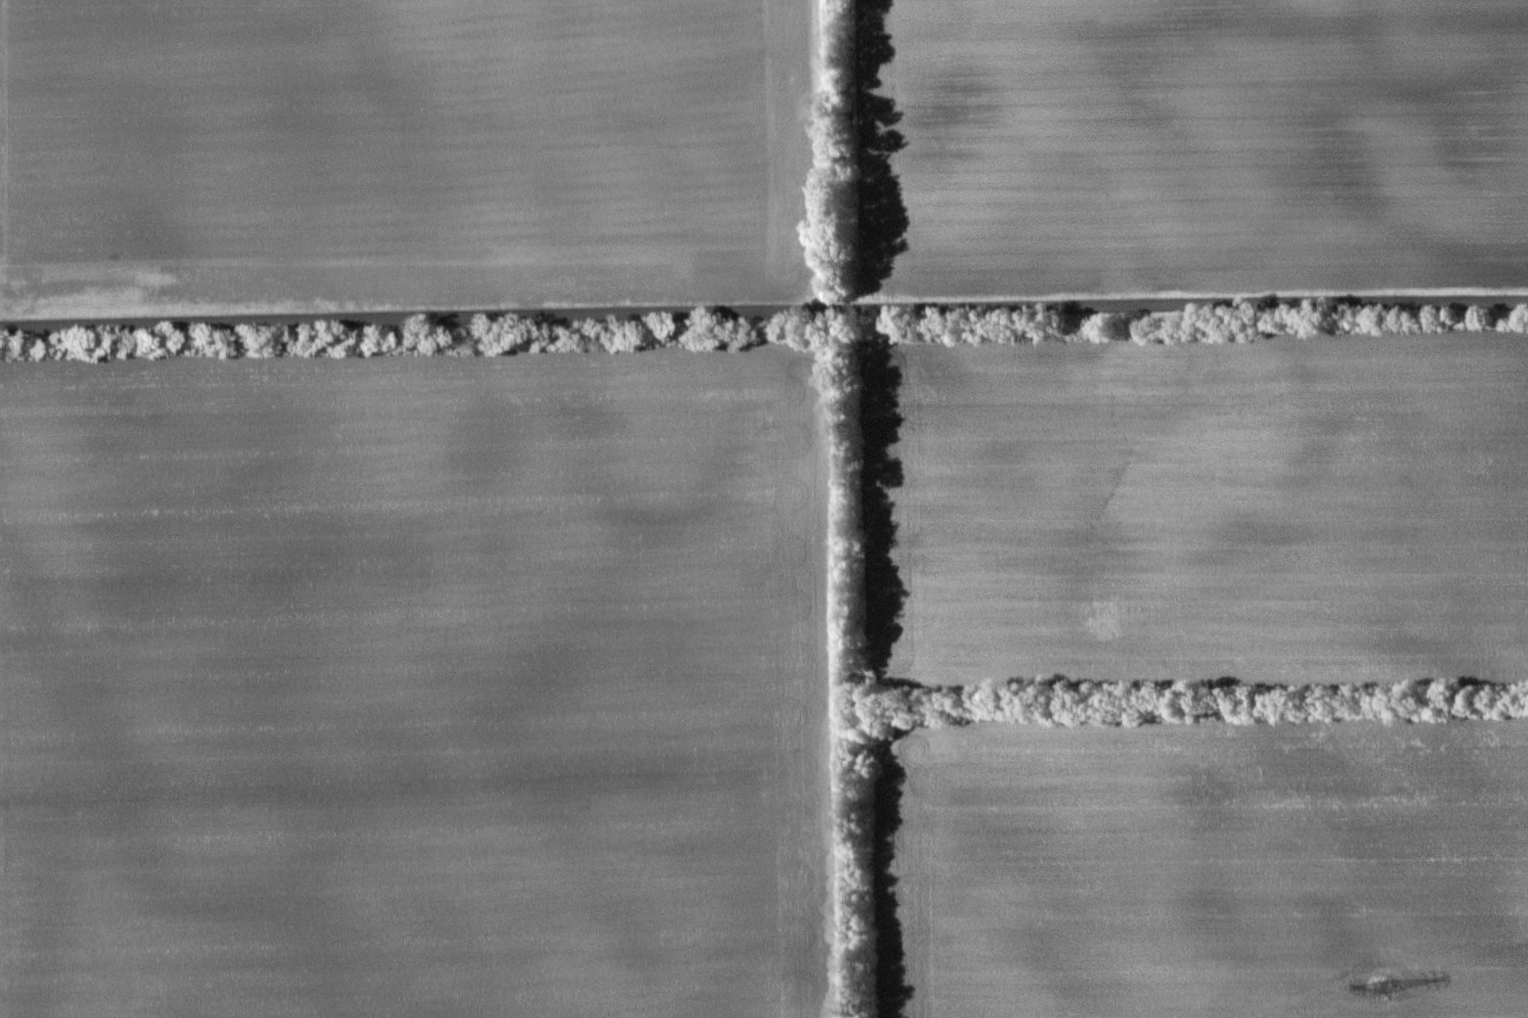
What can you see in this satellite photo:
road: (1204, 305)
road: (440, 318)
power tower: (1402, 993)

